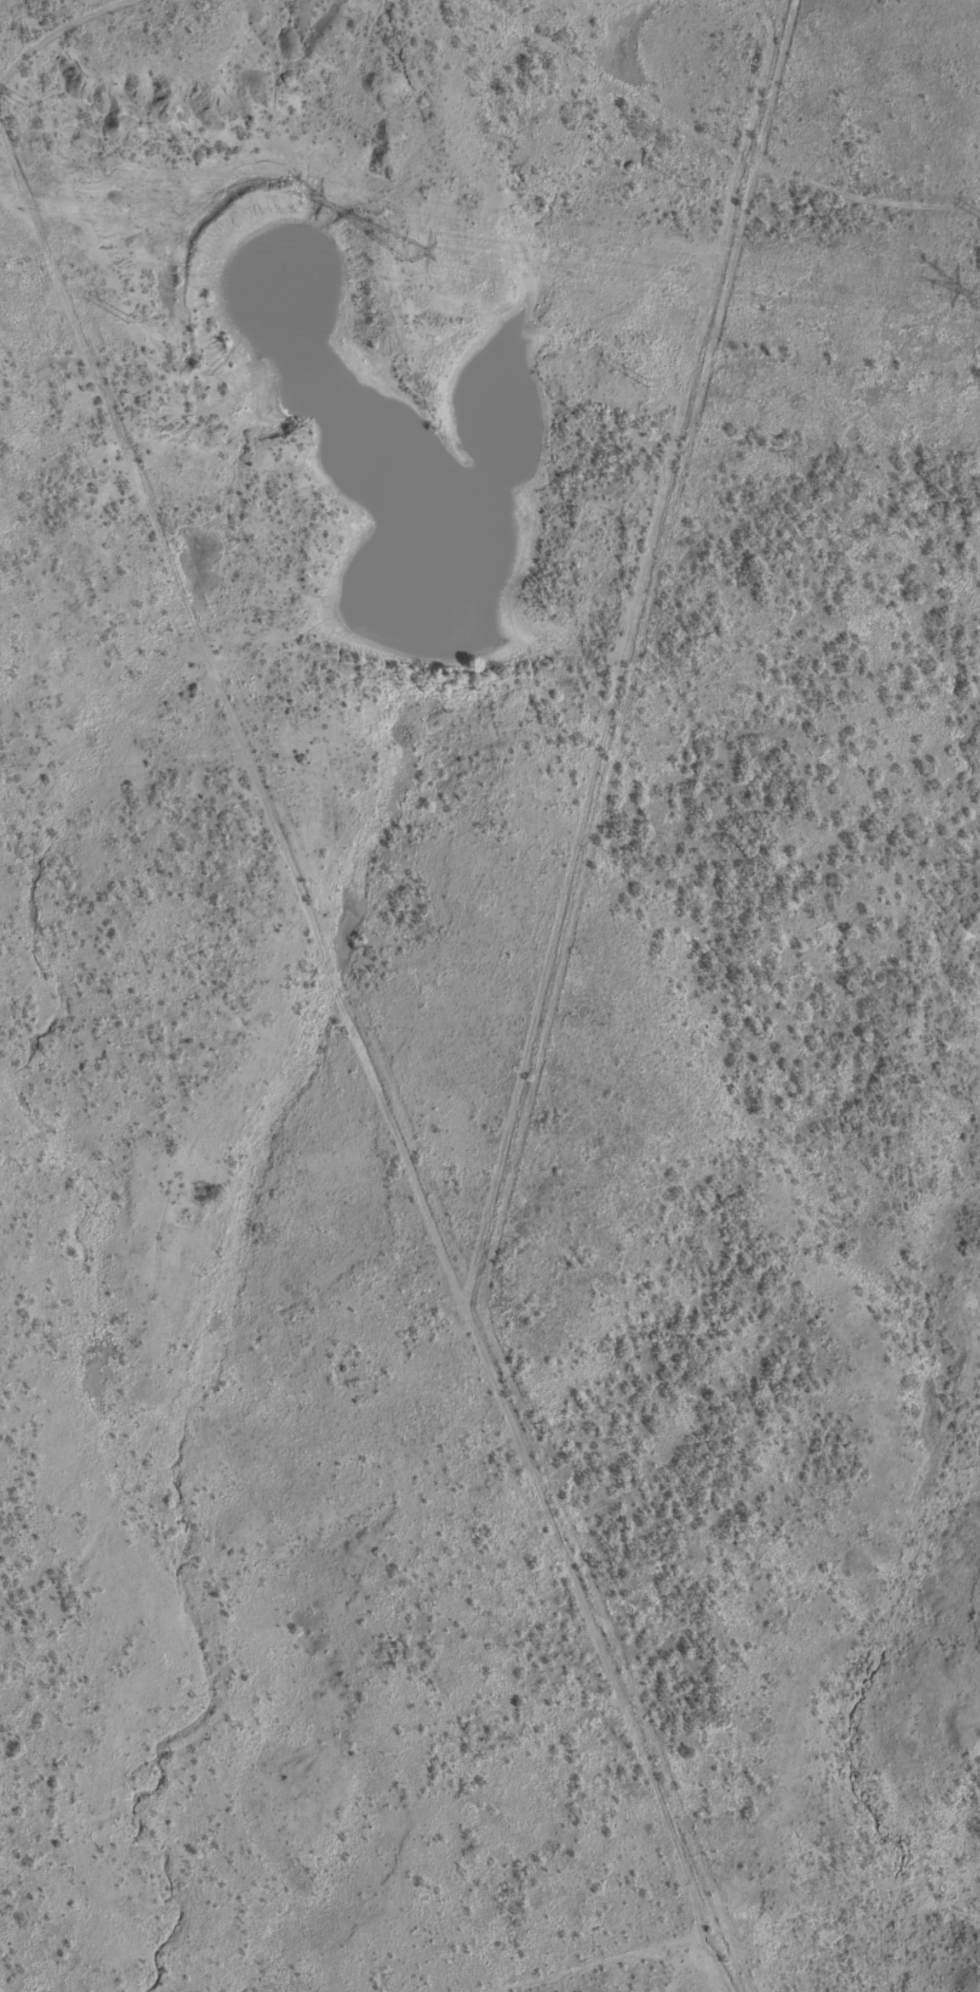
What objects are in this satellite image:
road: (88, 48)
power tower: (32, 103)
power tower: (389, 148)
road: (681, 151)
power tower: (683, 183)
power tower: (407, 245)
power tower: (127, 320)
power tower: (647, 384)

